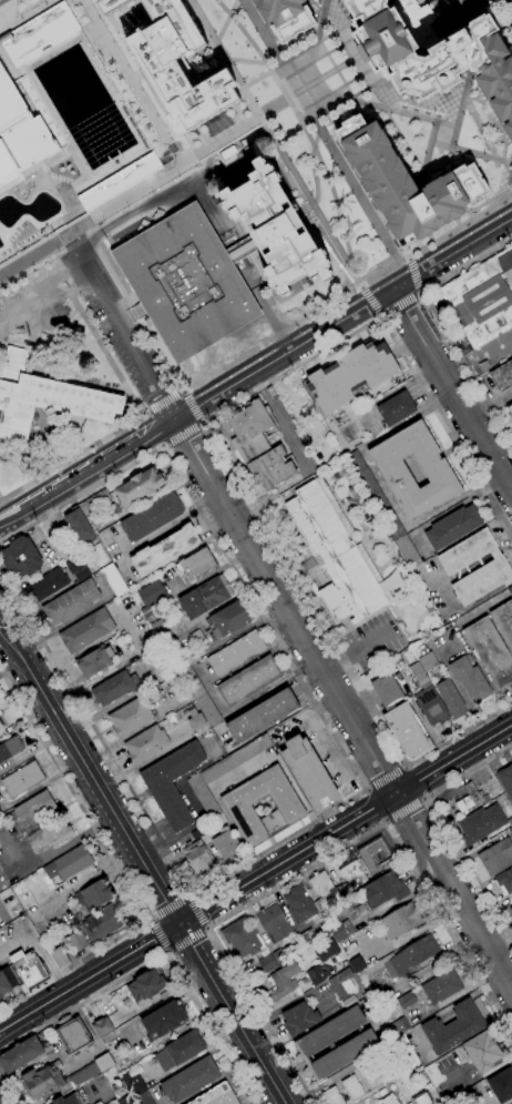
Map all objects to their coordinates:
road: (498, 4)
building: (109, 6)
road: (440, 6)
road: (329, 14)
road: (457, 14)
road: (28, 17)
building: (285, 17)
road: (506, 18)
road: (225, 20)
road: (318, 21)
road: (499, 21)
building: (38, 32)
road: (260, 32)
road: (320, 39)
road: (327, 51)
building: (436, 52)
road: (263, 59)
road: (245, 61)
building: (177, 67)
road: (273, 68)
road: (335, 71)
road: (346, 81)
road: (130, 82)
road: (305, 85)
road: (462, 101)
road: (379, 102)
road: (336, 104)
road: (447, 124)
road: (303, 126)
road: (287, 133)
building: (19, 135)
road: (275, 143)
road: (211, 144)
road: (426, 155)
road: (338, 164)
road: (310, 166)
building: (117, 182)
building: (407, 184)
road: (126, 195)
road: (332, 196)
road: (155, 200)
road: (64, 229)
building: (276, 229)
road: (70, 239)
road: (43, 245)
building: (242, 249)
road: (331, 255)
road: (412, 275)
building: (185, 282)
building: (482, 298)
road: (371, 302)
road: (398, 306)
road: (269, 320)
road: (436, 325)
parking lot: (107, 328)
road: (54, 343)
road: (264, 343)
road: (255, 354)
road: (256, 371)
building: (350, 375)
building: (502, 376)
road: (419, 385)
road: (453, 388)
road: (182, 391)
building: (43, 399)
road: (163, 403)
road: (191, 405)
road: (491, 407)
building: (396, 408)
building: (510, 409)
road: (143, 415)
road: (131, 421)
road: (201, 422)
road: (152, 429)
road: (180, 432)
road: (160, 445)
building: (258, 446)
road: (20, 466)
building: (437, 472)
building: (139, 487)
road: (0, 498)
building: (93, 503)
building: (382, 509)
building: (152, 517)
building: (79, 527)
building: (452, 527)
building: (164, 550)
building: (337, 555)
building: (21, 558)
building: (73, 564)
building: (197, 564)
building: (495, 566)
building: (82, 575)
building: (113, 580)
building: (48, 584)
building: (510, 590)
building: (150, 597)
building: (205, 597)
road: (308, 600)
building: (71, 602)
building: (426, 608)
road: (291, 618)
building: (228, 620)
building: (503, 621)
road: (1, 622)
building: (85, 630)
building: (161, 631)
building: (196, 638)
building: (490, 651)
building: (236, 654)
road: (355, 655)
building: (188, 658)
building: (95, 661)
building: (427, 661)
building: (419, 676)
building: (470, 679)
building: (248, 681)
building: (114, 688)
building: (386, 692)
building: (199, 697)
building: (451, 699)
building: (430, 706)
building: (130, 717)
building: (262, 717)
building: (196, 722)
building: (0, 728)
building: (407, 731)
building: (145, 745)
building: (10, 749)
road: (454, 761)
road: (406, 766)
road: (409, 766)
building: (308, 772)
building: (223, 773)
road: (90, 776)
road: (386, 779)
building: (22, 780)
road: (417, 780)
building: (505, 780)
building: (172, 784)
road: (362, 787)
road: (367, 791)
road: (427, 796)
building: (467, 798)
road: (424, 799)
road: (375, 804)
building: (34, 808)
building: (236, 808)
road: (403, 809)
road: (383, 820)
road: (387, 821)
building: (510, 822)
building: (480, 824)
road: (446, 827)
building: (510, 831)
building: (196, 833)
building: (49, 835)
building: (226, 845)
building: (375, 855)
building: (495, 857)
building: (197, 858)
road: (287, 860)
road: (317, 863)
building: (68, 864)
road: (117, 870)
building: (351, 872)
building: (504, 881)
building: (322, 887)
building: (382, 890)
building: (94, 895)
road: (190, 897)
building: (299, 904)
road: (168, 908)
building: (511, 910)
road: (196, 912)
road: (149, 920)
building: (399, 921)
building: (101, 923)
building: (274, 923)
traffic signals: (178, 925)
road: (207, 926)
building: (340, 931)
road: (158, 934)
building: (240, 938)
building: (307, 938)
road: (187, 940)
building: (76, 942)
building: (325, 949)
road: (37, 950)
road: (166, 951)
building: (59, 958)
road: (157, 958)
building: (405, 959)
building: (272, 961)
building: (356, 964)
building: (28, 969)
building: (316, 974)
road: (89, 979)
building: (6, 982)
building: (281, 982)
building: (341, 983)
building: (146, 985)
building: (441, 986)
building: (377, 997)
building: (409, 999)
road: (231, 1014)
building: (298, 1019)
building: (163, 1020)
building: (101, 1026)
building: (398, 1027)
building: (453, 1027)
building: (72, 1034)
building: (314, 1043)
building: (180, 1051)
building: (389, 1051)
building: (482, 1052)
building: (408, 1053)
building: (20, 1054)
building: (90, 1071)
building: (371, 1076)
building: (43, 1080)
building: (190, 1080)
building: (403, 1080)
building: (501, 1085)
building: (134, 1086)
building: (120, 1088)
building: (351, 1088)
road: (8, 1090)
building: (477, 1091)
building: (216, 1095)
building: (331, 1096)
building: (71, 1098)
building: (143, 1098)
building: (420, 1098)
building: (125, 1100)
building: (387, 1101)
building: (457, 1103)
building: (459, 1103)

